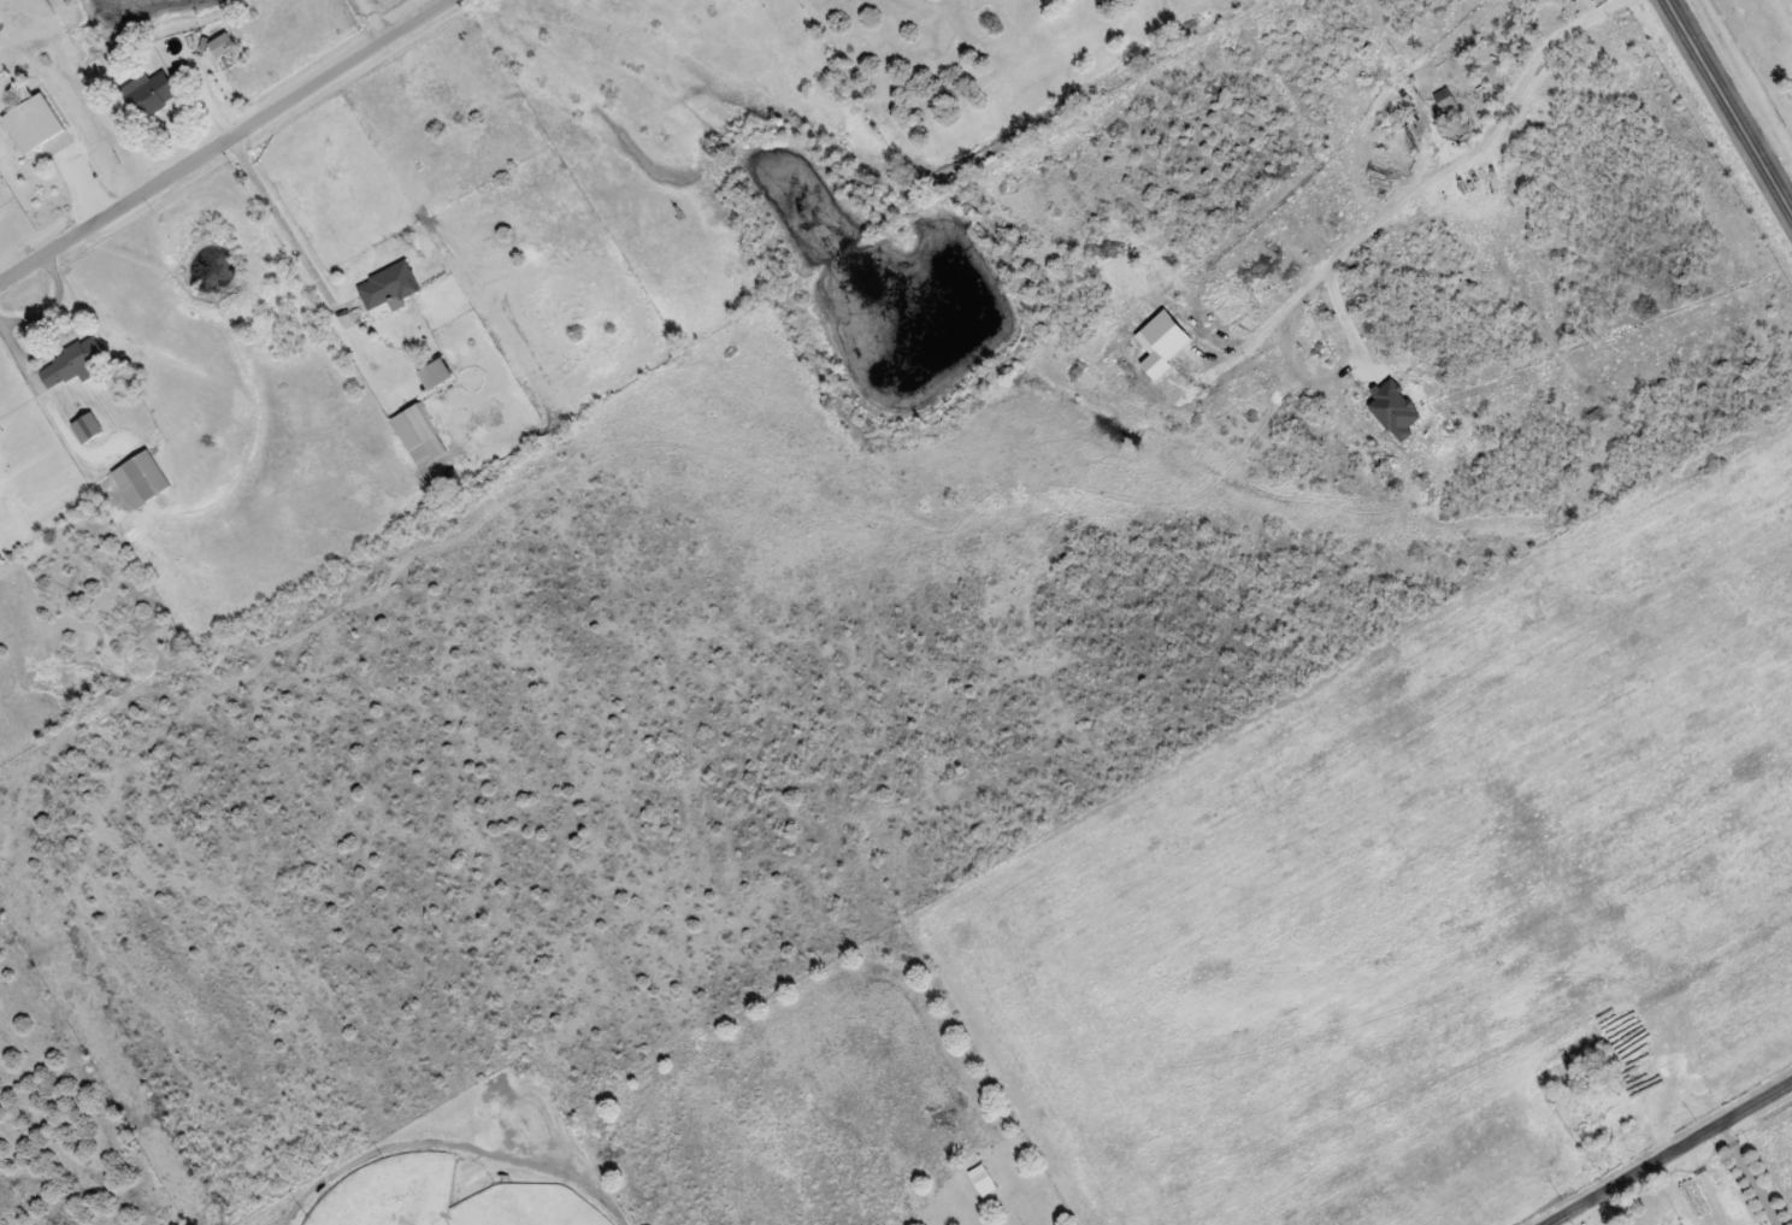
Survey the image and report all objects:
building: (222, 45)
building: (152, 94)
building: (1444, 98)
road: (1731, 104)
building: (33, 118)
road: (222, 141)
building: (388, 285)
building: (73, 364)
building: (88, 426)
building: (424, 436)
building: (141, 478)
road: (1668, 1155)
building: (983, 1178)

